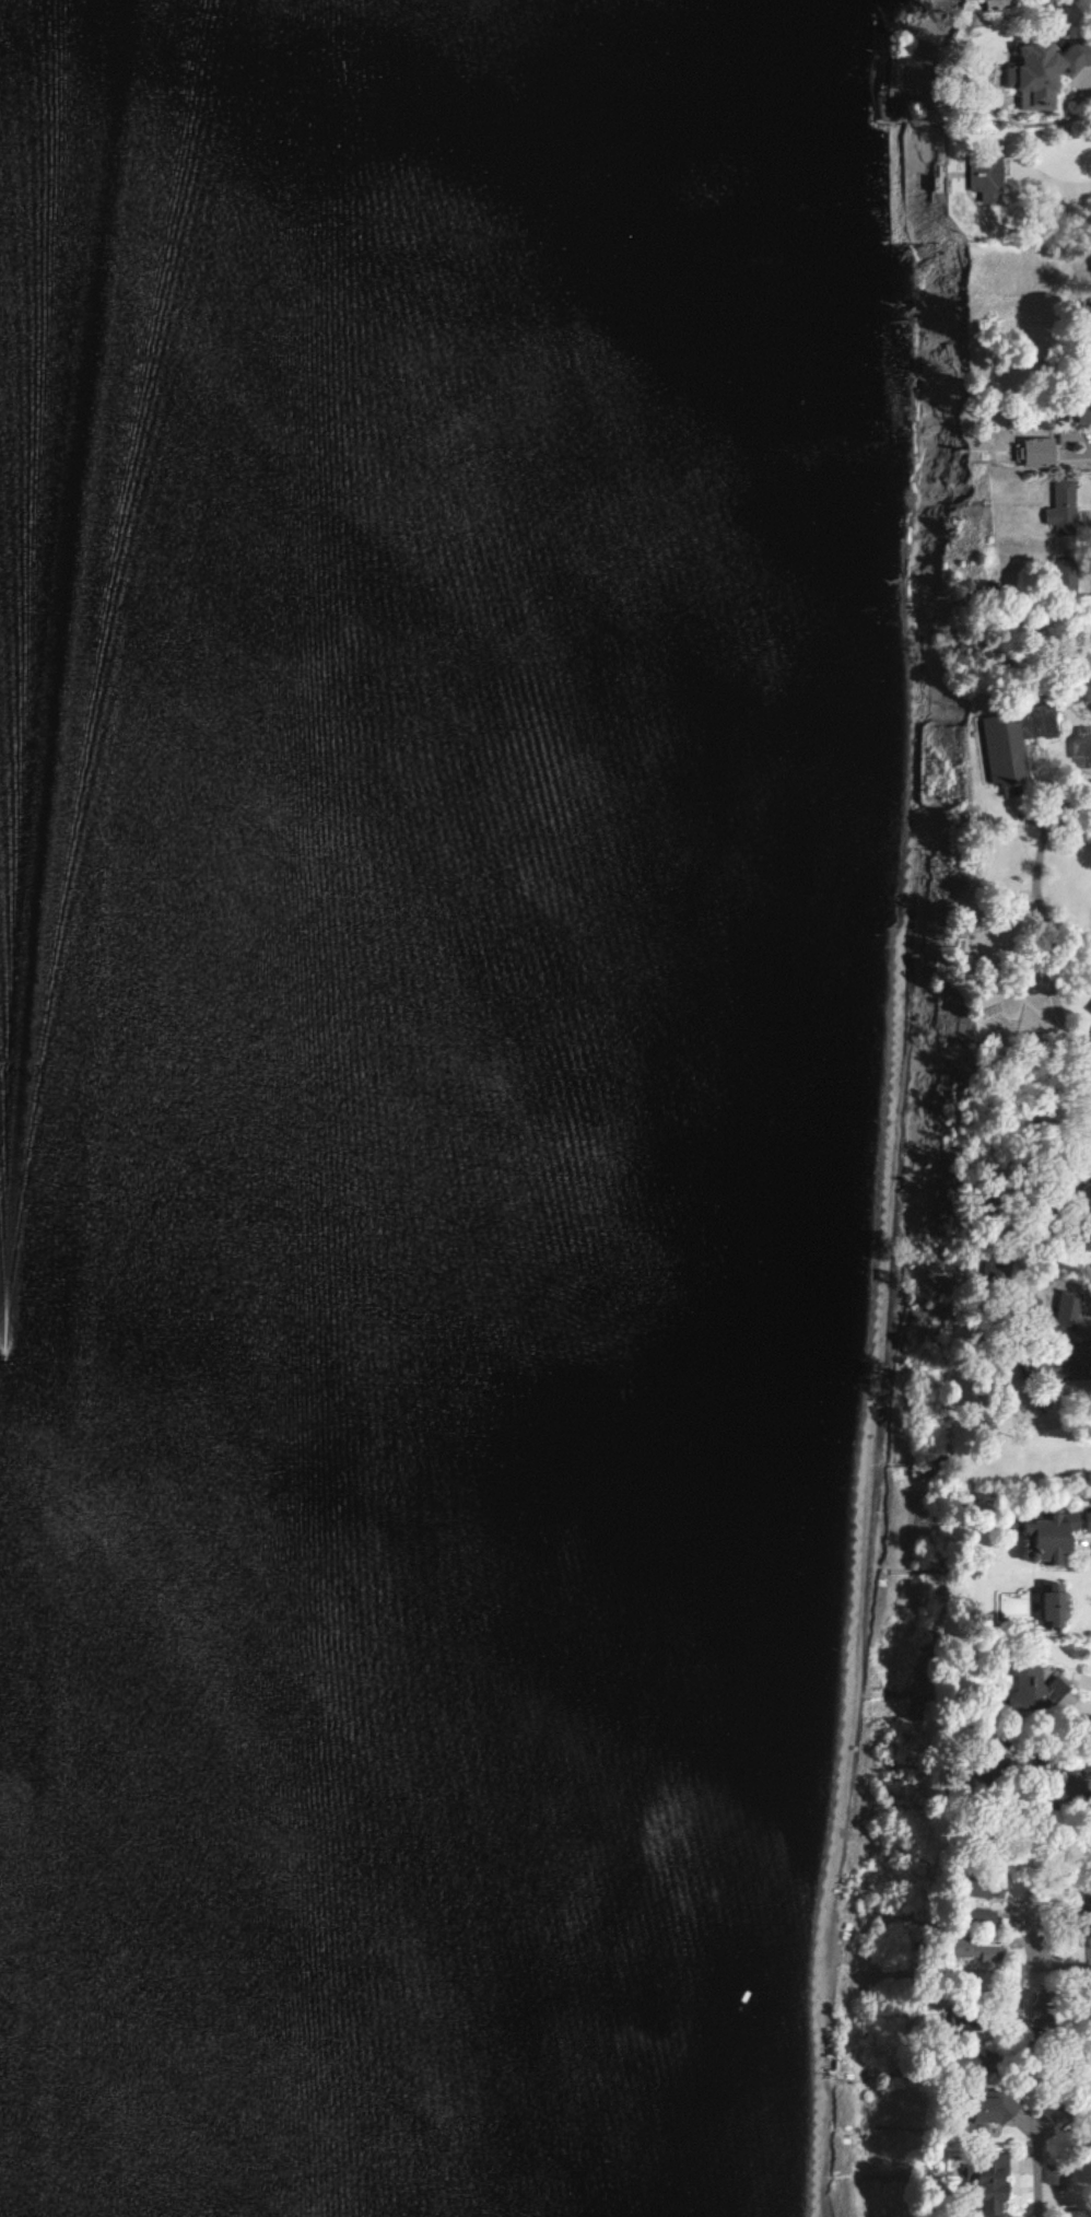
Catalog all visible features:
building: (1047, 68)
building: (975, 176)
road: (1083, 186)
building: (1084, 412)
building: (1033, 453)
building: (1061, 506)
building: (1007, 742)
road: (1087, 746)
parking lot: (1080, 747)
road: (1029, 767)
road: (978, 781)
road: (1045, 793)
road: (1046, 820)
road: (1052, 826)
park: (1068, 897)
road: (964, 947)
road: (1090, 971)
road: (1071, 976)
road: (1022, 984)
building: (1089, 1010)
building: (999, 1019)
road: (1084, 1047)
road: (1086, 1049)
road: (1072, 1054)
road: (1083, 1080)
road: (1084, 1189)
road: (1089, 1195)
road: (1080, 1212)
road: (1004, 1229)
road: (1071, 1236)
road: (1013, 1253)
road: (1054, 1258)
road: (1037, 1293)
road: (1057, 1293)
road: (1051, 1303)
road: (1045, 1306)
building: (1069, 1307)
building: (1057, 1360)
building: (1056, 1536)
building: (1057, 1608)
road: (1053, 1800)
building: (985, 1887)
building: (977, 1916)
building: (1080, 1920)
building: (965, 1948)
road: (1067, 1967)
building: (965, 1992)
building: (1045, 2007)
building: (1080, 2010)
building: (966, 2021)
building: (969, 2061)
building: (994, 2108)
road: (1040, 2175)
building: (992, 2186)

